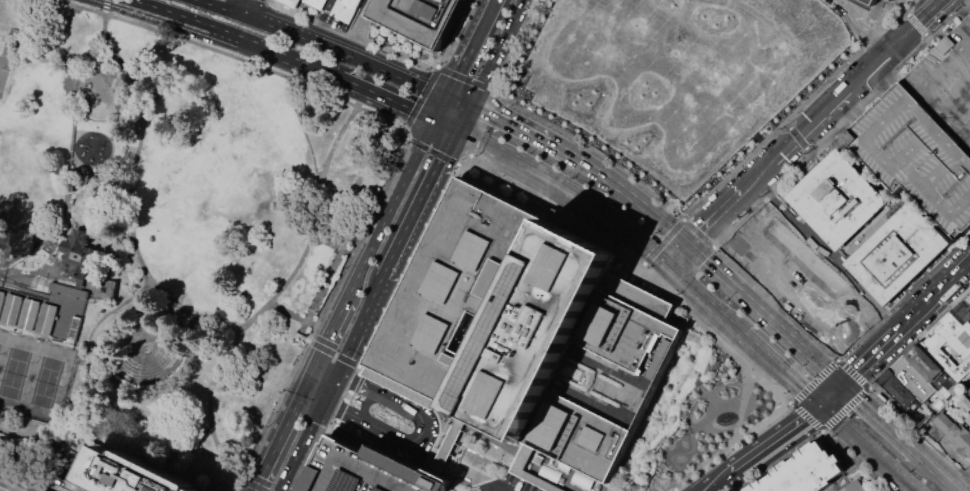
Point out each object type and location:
building: (892, 0)
building: (291, 3)
building: (867, 3)
building: (315, 4)
road: (248, 6)
building: (346, 10)
road: (180, 17)
building: (420, 18)
road: (913, 27)
road: (108, 29)
road: (358, 29)
road: (43, 34)
road: (456, 34)
road: (849, 34)
road: (327, 44)
road: (516, 45)
road: (471, 47)
road: (499, 52)
road: (288, 58)
park: (5, 60)
road: (875, 64)
road: (466, 78)
road: (857, 81)
road: (344, 83)
traffic signals: (448, 95)
road: (419, 98)
road: (460, 100)
road: (391, 103)
traffic signals: (473, 106)
road: (441, 108)
road: (850, 109)
road: (302, 119)
road: (466, 119)
traffic signals: (434, 121)
road: (480, 122)
road: (511, 122)
road: (811, 125)
road: (446, 127)
building: (926, 132)
parking lot: (926, 132)
traffic signals: (459, 133)
road: (403, 134)
traffic signals: (798, 138)
road: (562, 149)
road: (430, 151)
park: (22, 152)
road: (466, 162)
road: (531, 166)
road: (757, 177)
road: (633, 197)
road: (893, 197)
building: (838, 199)
road: (423, 205)
road: (389, 207)
road: (715, 217)
road: (136, 218)
road: (135, 226)
park: (166, 232)
road: (633, 235)
building: (777, 238)
traffic signals: (688, 243)
building: (74, 252)
road: (677, 253)
building: (898, 254)
road: (702, 256)
traffic signals: (666, 264)
road: (409, 269)
building: (104, 289)
road: (937, 292)
parking lot: (969, 295)
road: (703, 298)
building: (824, 307)
building: (39, 308)
road: (113, 310)
road: (368, 311)
road: (319, 314)
road: (292, 315)
road: (337, 318)
road: (779, 325)
building: (531, 337)
building: (950, 342)
road: (332, 352)
road: (343, 357)
road: (318, 358)
road: (861, 364)
building: (927, 365)
road: (359, 366)
road: (780, 369)
traffic signals: (337, 370)
park: (38, 372)
road: (324, 373)
traffic signals: (311, 376)
building: (912, 378)
traffic signals: (842, 383)
road: (330, 385)
road: (317, 388)
road: (374, 388)
building: (897, 388)
building: (969, 390)
road: (303, 391)
road: (346, 395)
road: (427, 399)
traffic signals: (323, 400)
traffic signals: (819, 405)
building: (965, 407)
road: (211, 410)
road: (878, 416)
park: (690, 417)
road: (390, 434)
building: (953, 436)
road: (300, 445)
building: (444, 445)
road: (765, 446)
road: (868, 447)
road: (275, 448)
road: (405, 449)
road: (315, 454)
road: (439, 456)
road: (459, 466)
building: (369, 470)
parking lot: (369, 470)
road: (936, 470)
building: (106, 471)
building: (809, 473)
road: (570, 477)
road: (240, 478)
road: (473, 481)
road: (253, 485)
building: (854, 487)
road: (476, 488)
road: (706, 488)
road: (0, 490)

